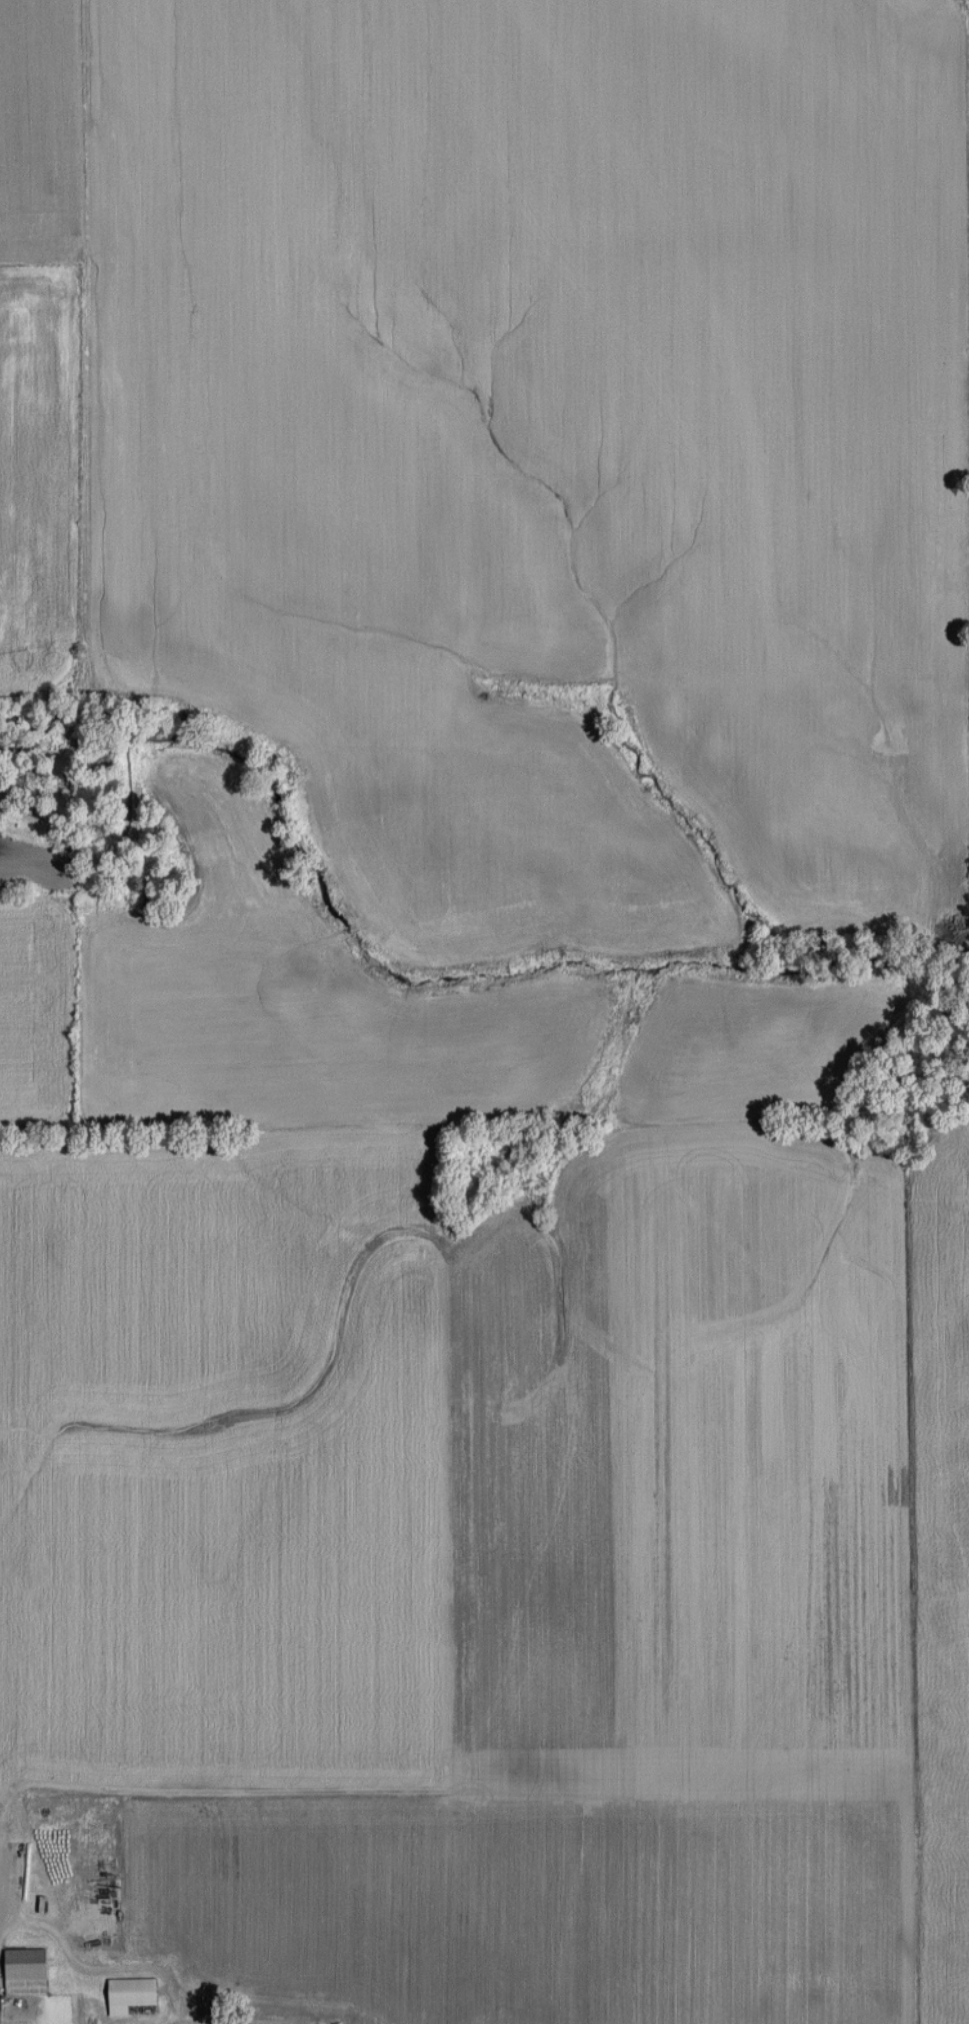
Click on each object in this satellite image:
building: (21, 1972)
building: (125, 1994)

